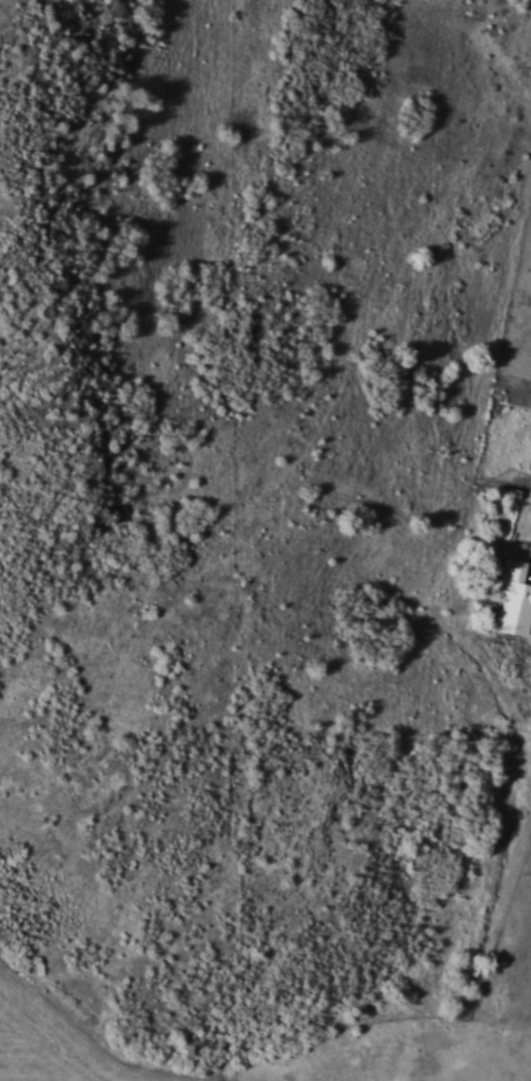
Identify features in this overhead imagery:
building: (513, 598)

